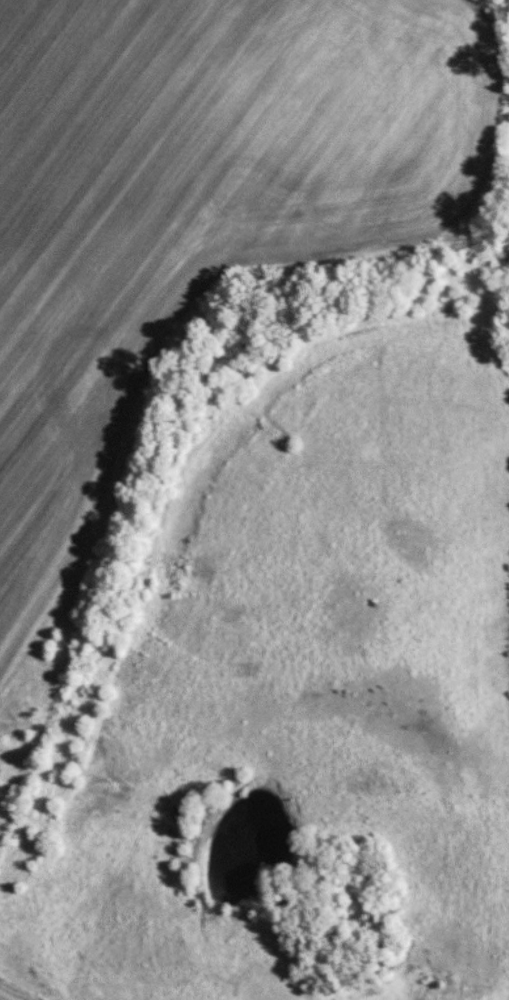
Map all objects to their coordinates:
crop: (196, 197)
road: (8, 995)

